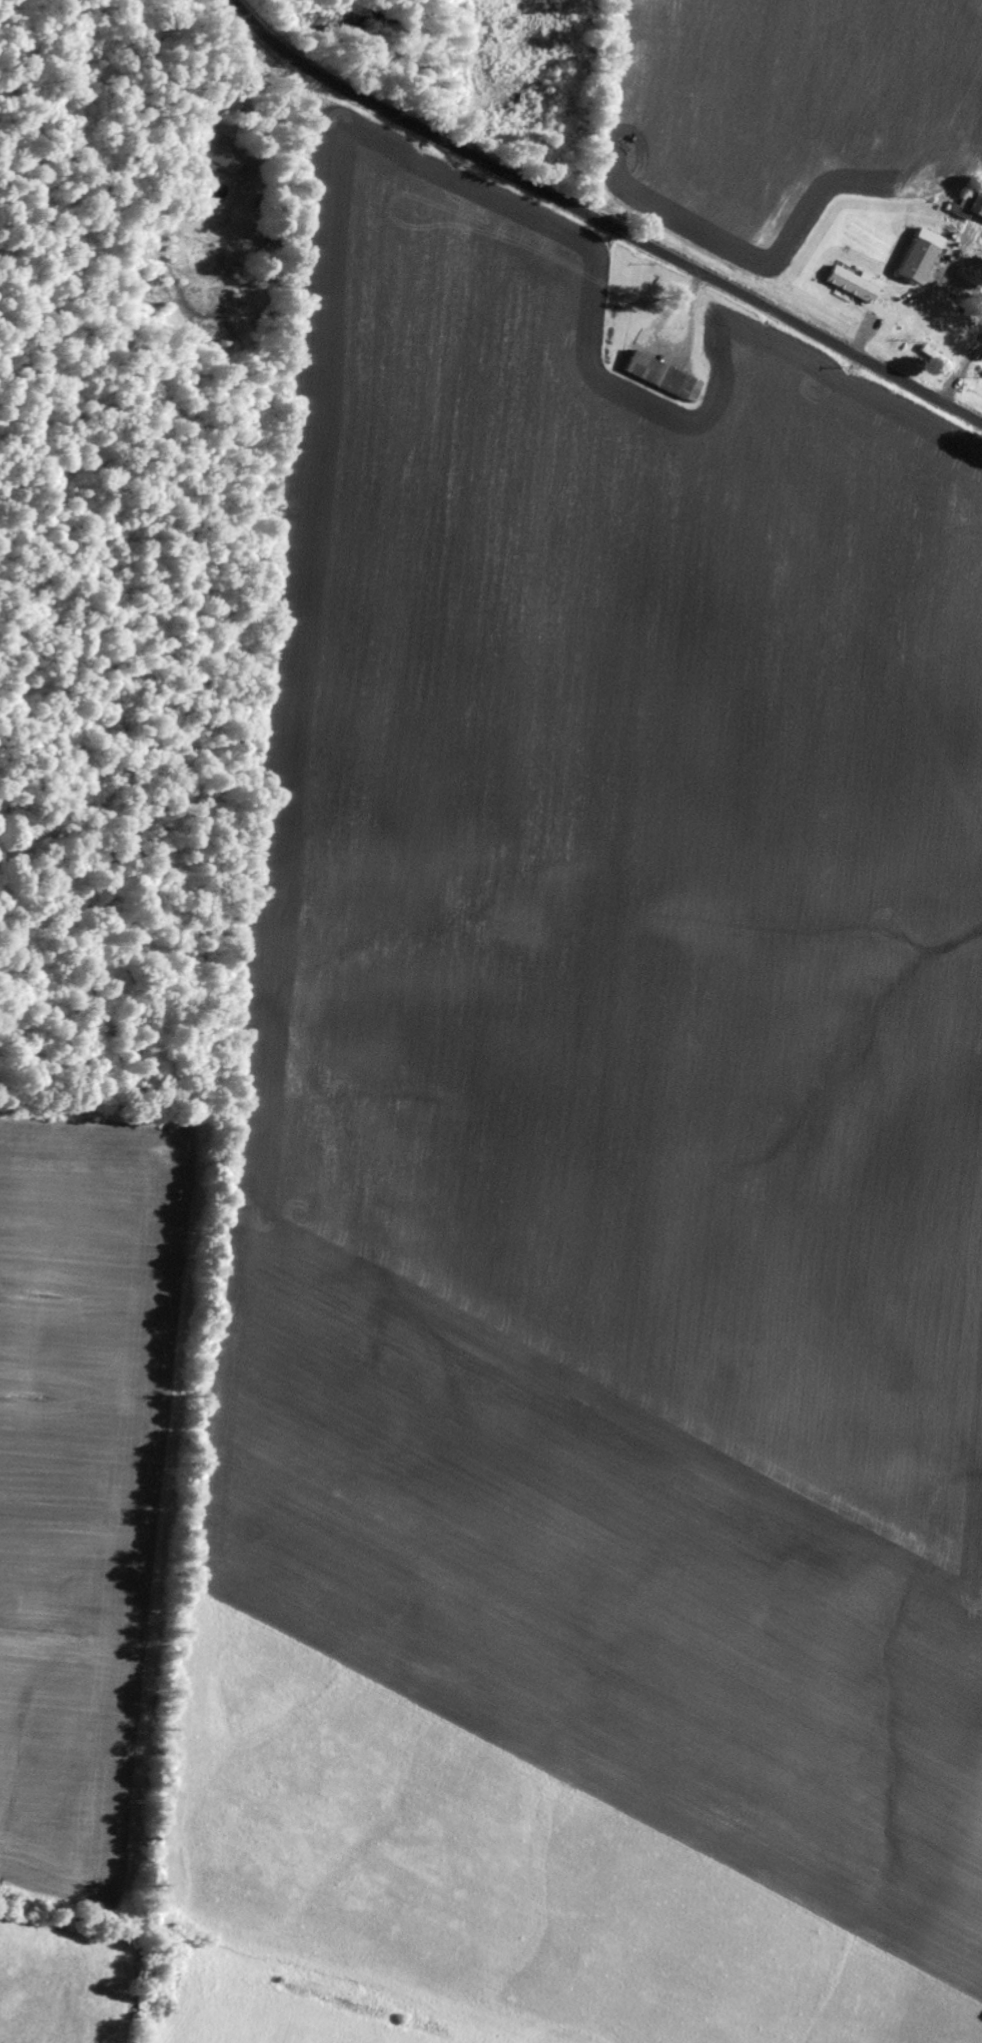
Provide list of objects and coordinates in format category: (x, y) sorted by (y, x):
building: (218, 161)
building: (969, 204)
road: (601, 221)
building: (922, 255)
building: (855, 284)
building: (939, 358)
building: (665, 377)

